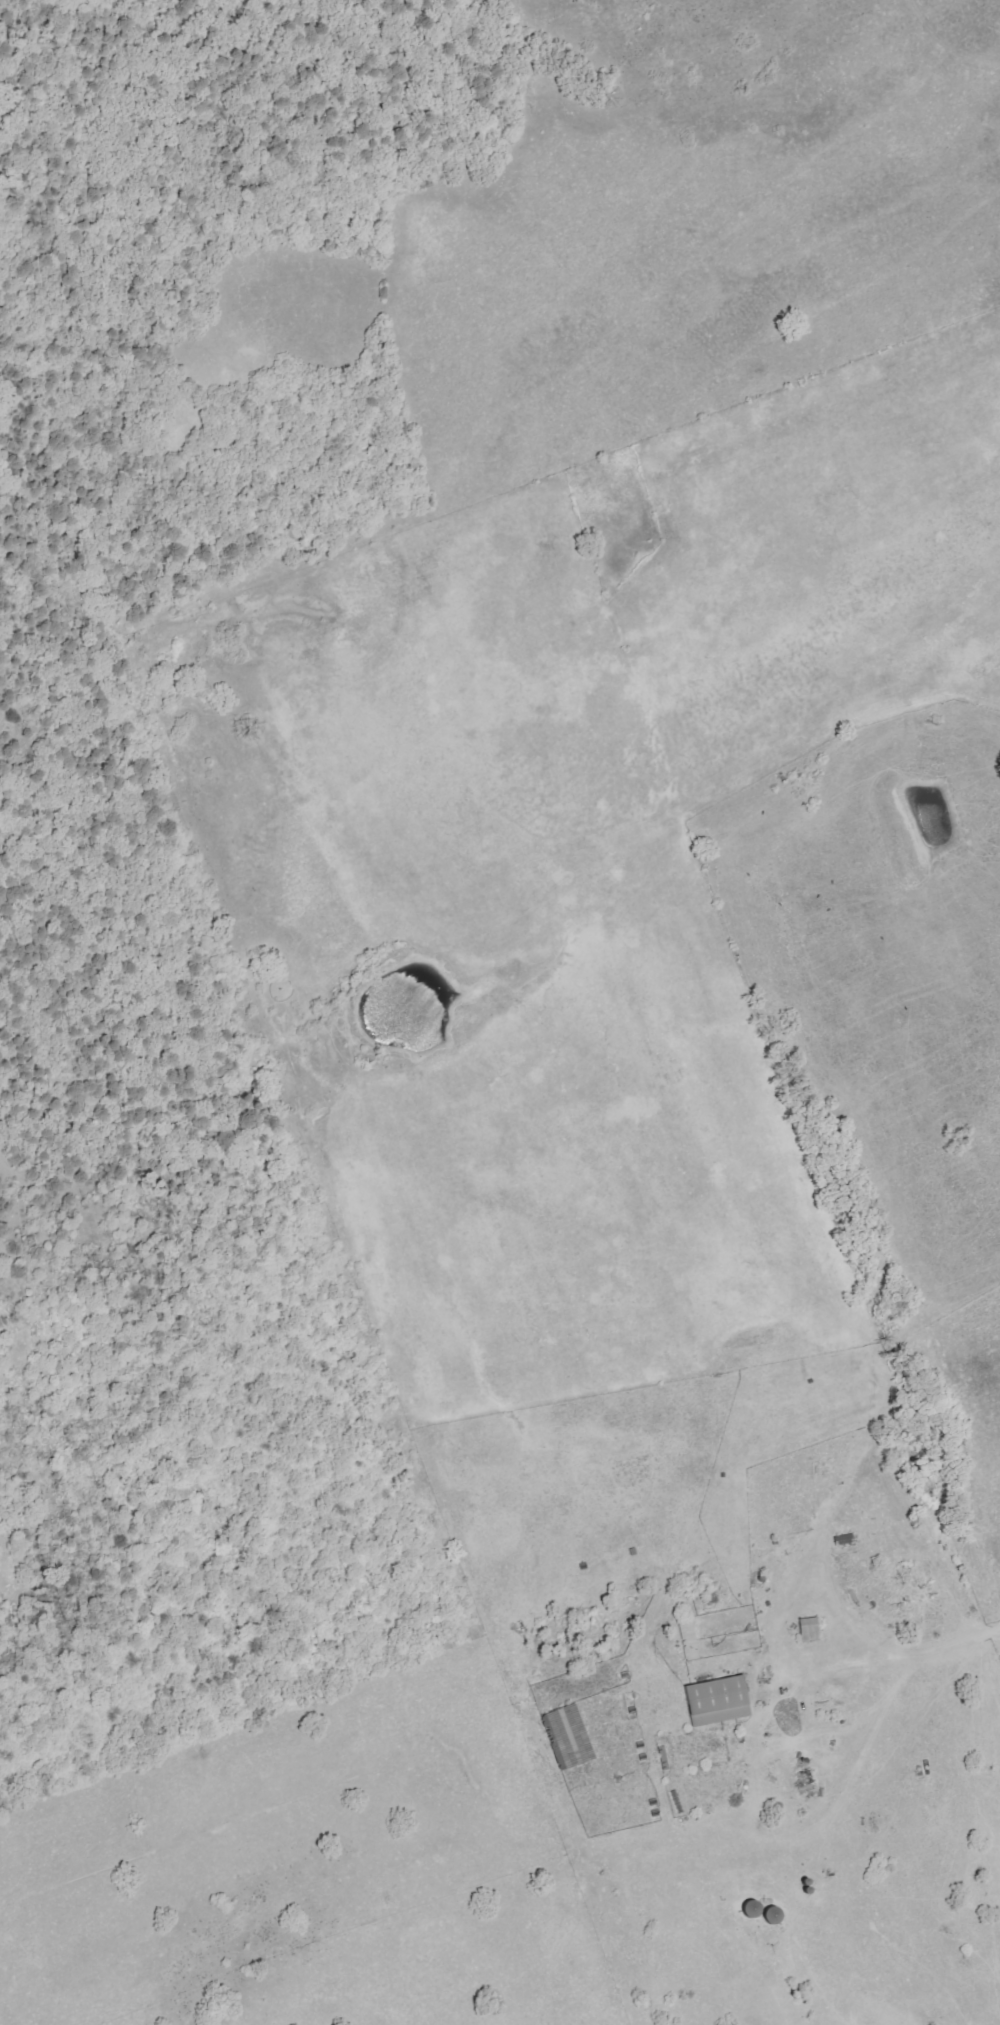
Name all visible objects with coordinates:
building: (715, 1700)

